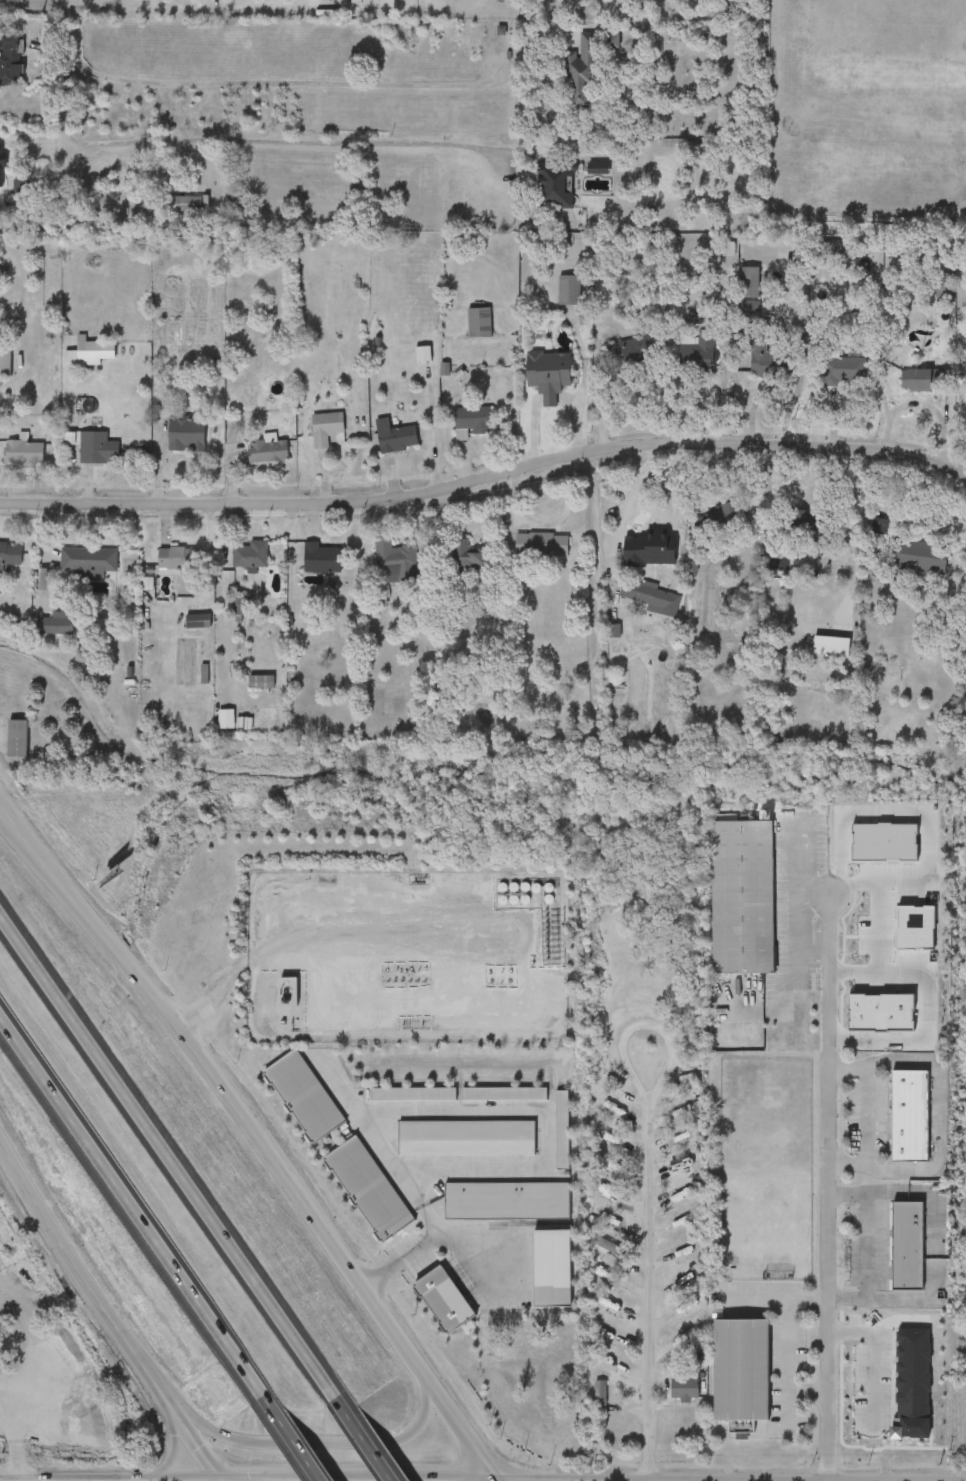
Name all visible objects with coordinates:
building: (701, 37)
building: (610, 41)
building: (10, 62)
building: (581, 74)
road: (65, 83)
road: (323, 83)
road: (299, 141)
building: (554, 189)
building: (10, 202)
building: (182, 204)
building: (747, 283)
building: (942, 289)
building: (567, 291)
building: (478, 323)
building: (704, 347)
building: (635, 350)
building: (96, 351)
building: (5, 359)
building: (765, 363)
building: (842, 372)
building: (546, 375)
building: (920, 381)
road: (718, 395)
building: (965, 400)
building: (471, 421)
building: (324, 429)
building: (185, 436)
building: (393, 437)
building: (96, 449)
building: (266, 452)
building: (23, 454)
road: (485, 476)
building: (539, 545)
building: (9, 554)
road: (654, 554)
building: (249, 556)
building: (175, 559)
building: (320, 559)
building: (465, 559)
building: (915, 560)
building: (86, 562)
building: (394, 563)
building: (648, 597)
building: (237, 610)
building: (197, 622)
building: (55, 624)
building: (827, 646)
building: (260, 682)
building: (16, 739)
road: (927, 821)
road: (52, 867)
road: (54, 873)
road: (812, 892)
building: (741, 897)
road: (798, 909)
road: (876, 930)
building: (599, 957)
road: (249, 959)
road: (145, 982)
road: (923, 1009)
road: (660, 1033)
road: (549, 1117)
building: (908, 1117)
road: (868, 1118)
road: (383, 1148)
road: (170, 1151)
road: (827, 1188)
road: (134, 1204)
road: (430, 1242)
road: (868, 1246)
building: (906, 1246)
road: (340, 1256)
road: (81, 1278)
road: (651, 1292)
road: (778, 1301)
road: (872, 1359)
road: (788, 1366)
building: (739, 1372)
building: (855, 1387)
building: (684, 1388)
road: (808, 1391)
building: (598, 1392)
road: (370, 1437)
road: (297, 1438)
road: (196, 1443)
road: (310, 1443)
road: (174, 1455)

